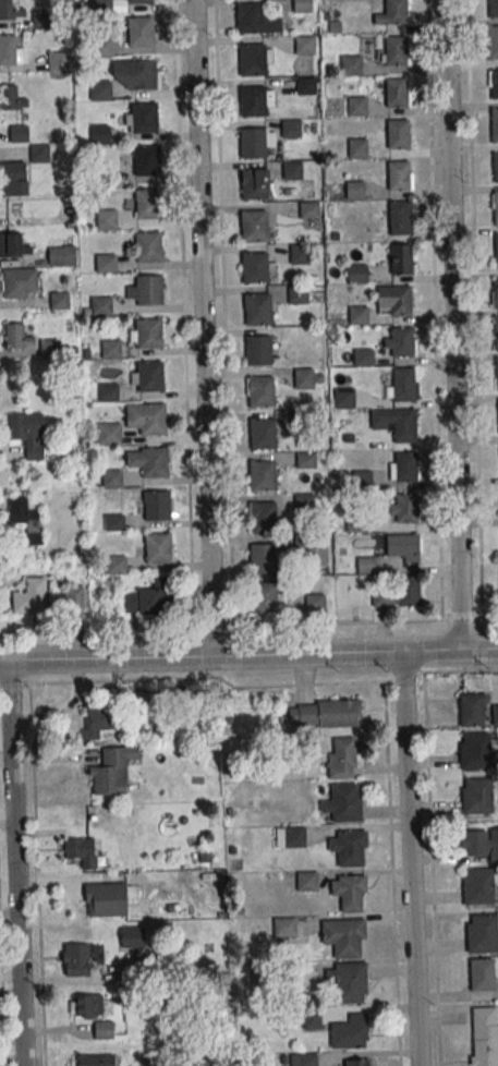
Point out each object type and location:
building: (139, 1)
building: (101, 5)
building: (303, 5)
building: (494, 8)
building: (11, 10)
building: (391, 13)
building: (250, 19)
building: (39, 21)
building: (139, 31)
building: (494, 44)
building: (305, 45)
building: (101, 47)
building: (10, 49)
building: (396, 50)
building: (251, 59)
building: (58, 61)
building: (351, 64)
building: (135, 73)
building: (495, 84)
building: (99, 89)
building: (392, 93)
building: (12, 98)
building: (253, 101)
building: (356, 106)
building: (144, 118)
building: (495, 124)
building: (291, 128)
building: (15, 132)
building: (99, 133)
building: (397, 133)
building: (253, 143)
building: (357, 147)
building: (39, 153)
building: (147, 160)
building: (495, 167)
building: (292, 170)
building: (399, 174)
building: (13, 178)
building: (253, 184)
building: (354, 190)
building: (148, 204)
building: (495, 208)
building: (308, 209)
building: (400, 217)
building: (106, 219)
building: (254, 226)
building: (13, 245)
building: (149, 246)
building: (497, 249)
building: (61, 253)
building: (299, 253)
building: (401, 258)
building: (106, 263)
building: (255, 267)
building: (356, 272)
building: (20, 282)
building: (149, 290)
building: (496, 293)
building: (297, 294)
building: (59, 300)
building: (400, 300)
building: (100, 306)
building: (258, 308)
road: (183, 313)
building: (357, 315)
road: (453, 325)
road: (203, 328)
building: (496, 330)
building: (149, 334)
building: (16, 336)
building: (401, 341)
building: (48, 348)
building: (110, 349)
building: (257, 351)
building: (363, 358)
building: (497, 371)
building: (148, 375)
building: (304, 378)
building: (403, 383)
building: (108, 391)
building: (260, 391)
building: (151, 417)
building: (404, 426)
building: (27, 433)
building: (108, 434)
building: (263, 434)
road: (228, 446)
building: (305, 459)
building: (154, 461)
building: (405, 465)
building: (262, 476)
building: (112, 477)
building: (362, 479)
building: (157, 506)
building: (405, 507)
building: (263, 517)
building: (26, 519)
building: (113, 522)
building: (402, 547)
building: (158, 548)
building: (264, 558)
building: (116, 565)
building: (366, 565)
building: (409, 591)
building: (75, 596)
building: (264, 596)
building: (31, 597)
building: (148, 598)
building: (315, 603)
road: (116, 629)
road: (248, 656)
road: (460, 671)
building: (473, 710)
building: (324, 714)
building: (495, 715)
building: (99, 719)
building: (475, 750)
building: (342, 758)
building: (112, 770)
building: (477, 797)
building: (343, 802)
building: (290, 836)
building: (479, 841)
building: (349, 847)
road: (429, 848)
building: (80, 851)
road: (411, 858)
road: (14, 864)
road: (391, 873)
building: (306, 881)
building: (478, 886)
building: (350, 891)
building: (105, 899)
building: (284, 926)
building: (482, 934)
building: (132, 936)
building: (343, 936)
building: (75, 960)
building: (482, 973)
building: (348, 981)
road: (2, 984)
building: (86, 1005)
building: (104, 1030)
building: (350, 1032)
building: (484, 1035)
building: (299, 1059)
building: (95, 1061)
building: (356, 1063)

